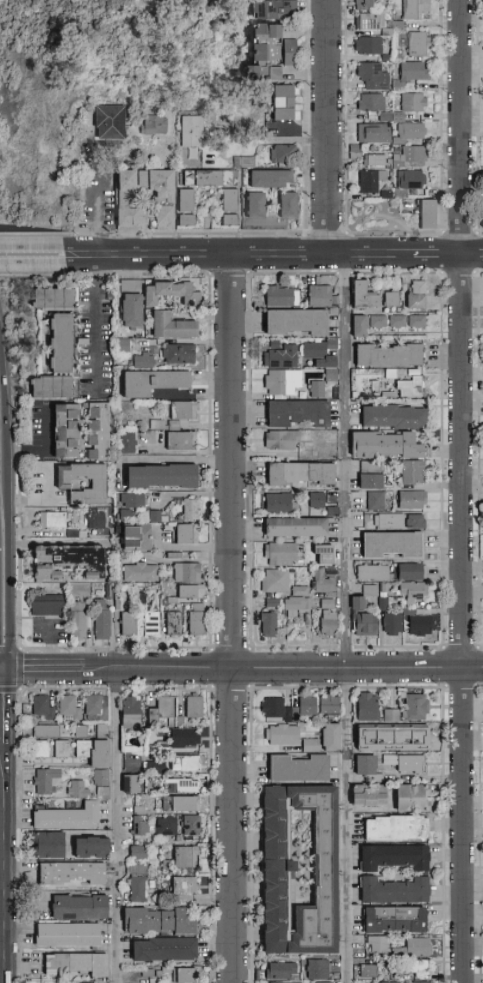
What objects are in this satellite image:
building: (365, 5)
building: (276, 8)
building: (417, 9)
building: (371, 23)
building: (394, 29)
building: (416, 44)
building: (274, 45)
building: (370, 47)
building: (253, 51)
building: (400, 55)
building: (388, 59)
building: (244, 70)
building: (371, 72)
building: (265, 73)
building: (411, 76)
building: (284, 102)
building: (373, 103)
building: (414, 103)
building: (387, 118)
building: (400, 118)
building: (111, 122)
building: (155, 126)
road: (329, 128)
building: (193, 131)
building: (411, 134)
building: (375, 135)
road: (277, 141)
building: (286, 153)
building: (357, 153)
building: (411, 158)
building: (375, 161)
building: (245, 162)
building: (210, 178)
building: (272, 178)
building: (372, 182)
building: (410, 184)
building: (388, 196)
building: (165, 200)
building: (231, 200)
building: (187, 201)
road: (97, 205)
building: (290, 205)
building: (481, 211)
building: (260, 215)
building: (429, 215)
building: (191, 223)
building: (227, 223)
road: (438, 255)
road: (472, 255)
road: (31, 256)
road: (238, 256)
building: (127, 286)
building: (166, 292)
building: (365, 296)
building: (418, 296)
building: (51, 297)
building: (283, 297)
building: (324, 297)
building: (393, 299)
building: (260, 306)
building: (127, 309)
building: (335, 312)
building: (299, 322)
building: (380, 322)
building: (398, 322)
building: (418, 322)
building: (167, 325)
road: (97, 326)
building: (361, 326)
building: (56, 342)
building: (119, 344)
building: (276, 345)
building: (320, 349)
building: (176, 352)
building: (391, 356)
building: (283, 358)
building: (140, 359)
building: (332, 368)
building: (416, 373)
building: (393, 375)
building: (147, 381)
building: (284, 383)
building: (47, 386)
building: (377, 387)
building: (413, 388)
building: (319, 390)
building: (338, 394)
building: (391, 396)
building: (181, 408)
building: (300, 413)
building: (395, 417)
building: (62, 428)
building: (95, 428)
building: (175, 439)
building: (125, 441)
building: (282, 441)
building: (390, 446)
road: (48, 447)
building: (415, 473)
building: (302, 474)
building: (156, 475)
building: (373, 476)
building: (79, 482)
road: (8, 490)
road: (463, 491)
building: (414, 500)
road: (28, 501)
building: (319, 501)
building: (378, 502)
building: (128, 505)
building: (280, 505)
building: (187, 508)
building: (335, 512)
building: (153, 515)
building: (93, 518)
building: (51, 519)
building: (391, 522)
building: (417, 522)
building: (299, 527)
building: (183, 532)
building: (131, 536)
building: (395, 545)
building: (282, 554)
building: (325, 554)
building: (67, 557)
building: (39, 571)
building: (139, 571)
building: (185, 571)
building: (333, 573)
building: (414, 573)
building: (375, 574)
building: (277, 581)
building: (325, 583)
building: (79, 589)
building: (368, 589)
building: (188, 590)
building: (302, 592)
building: (375, 592)
building: (416, 592)
building: (385, 598)
building: (354, 602)
building: (274, 604)
building: (329, 605)
building: (48, 606)
building: (298, 606)
building: (410, 612)
building: (194, 618)
building: (365, 618)
building: (77, 619)
road: (232, 619)
road: (348, 619)
building: (100, 620)
building: (127, 622)
building: (150, 622)
building: (172, 622)
building: (394, 624)
building: (271, 625)
building: (331, 625)
building: (422, 626)
parking lot: (52, 631)
road: (53, 648)
road: (4, 670)
traffic signals: (8, 670)
road: (30, 671)
road: (268, 671)
building: (326, 703)
building: (95, 705)
building: (40, 706)
building: (163, 706)
building: (191, 706)
building: (364, 706)
building: (414, 706)
building: (285, 707)
road: (8, 708)
building: (68, 708)
building: (127, 713)
building: (149, 714)
building: (389, 715)
building: (44, 730)
building: (80, 730)
building: (100, 730)
building: (279, 734)
building: (326, 736)
building: (182, 737)
building: (388, 737)
building: (308, 744)
building: (39, 748)
building: (60, 748)
building: (91, 752)
building: (407, 761)
building: (182, 762)
road: (46, 765)
building: (154, 765)
building: (295, 768)
building: (364, 768)
building: (99, 777)
building: (44, 780)
building: (127, 783)
building: (183, 785)
building: (76, 786)
building: (101, 792)
building: (363, 795)
building: (407, 797)
building: (182, 803)
building: (64, 817)
building: (188, 824)
building: (137, 825)
building: (164, 826)
road: (118, 827)
building: (392, 827)
building: (44, 845)
building: (85, 847)
building: (135, 851)
building: (182, 856)
building: (390, 856)
road: (9, 864)
building: (140, 868)
building: (294, 869)
building: (68, 872)
building: (180, 884)
building: (135, 888)
building: (390, 890)
building: (75, 906)
building: (390, 919)
building: (154, 921)
building: (64, 934)
building: (376, 943)
building: (411, 947)
building: (161, 948)
building: (75, 962)
building: (413, 965)
building: (315, 968)
building: (279, 969)
building: (364, 970)
building: (181, 975)
building: (386, 981)
building: (418, 981)
building: (320, 982)

